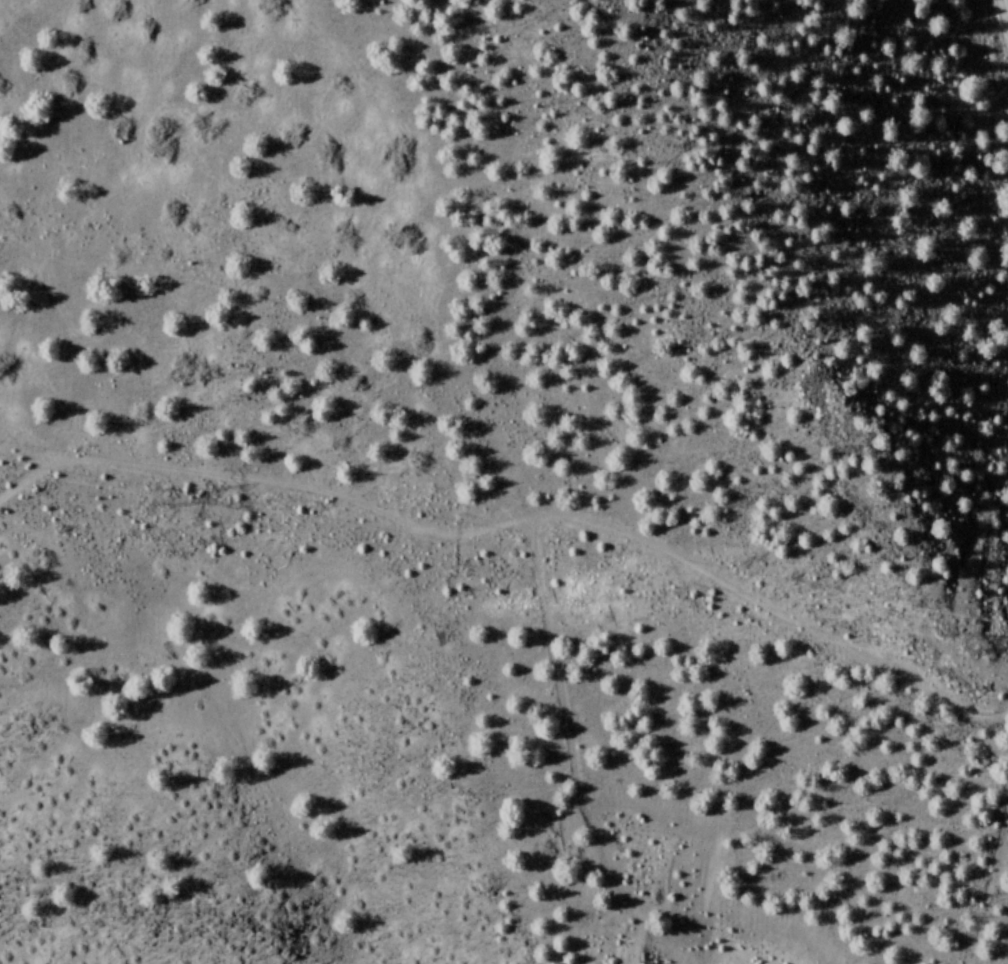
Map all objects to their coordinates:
power tower: (167, 500)
power tower: (974, 644)

